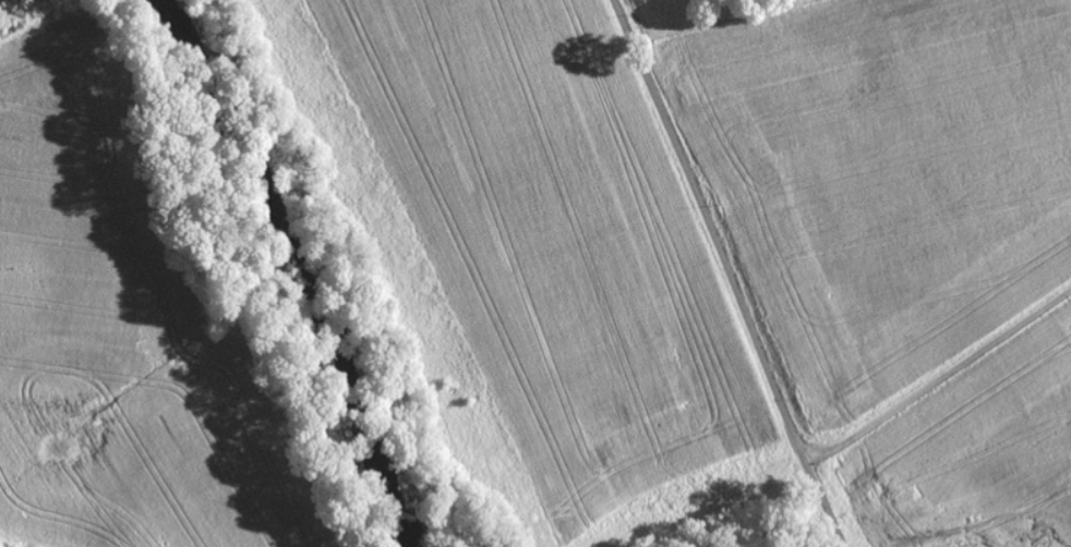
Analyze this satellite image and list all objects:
road: (729, 272)
road: (940, 384)

